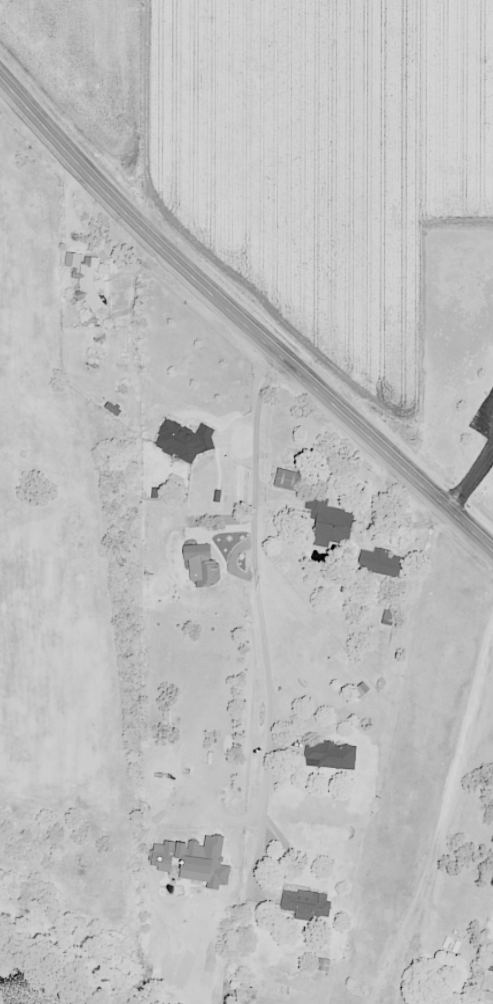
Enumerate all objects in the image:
road: (154, 120)
building: (86, 320)
road: (240, 320)
building: (183, 440)
building: (286, 479)
road: (473, 487)
building: (329, 522)
building: (379, 562)
road: (261, 620)
building: (330, 754)
road: (443, 814)
building: (305, 904)
building: (492, 974)
river: (18, 990)
building: (486, 997)
building: (408, 1003)

